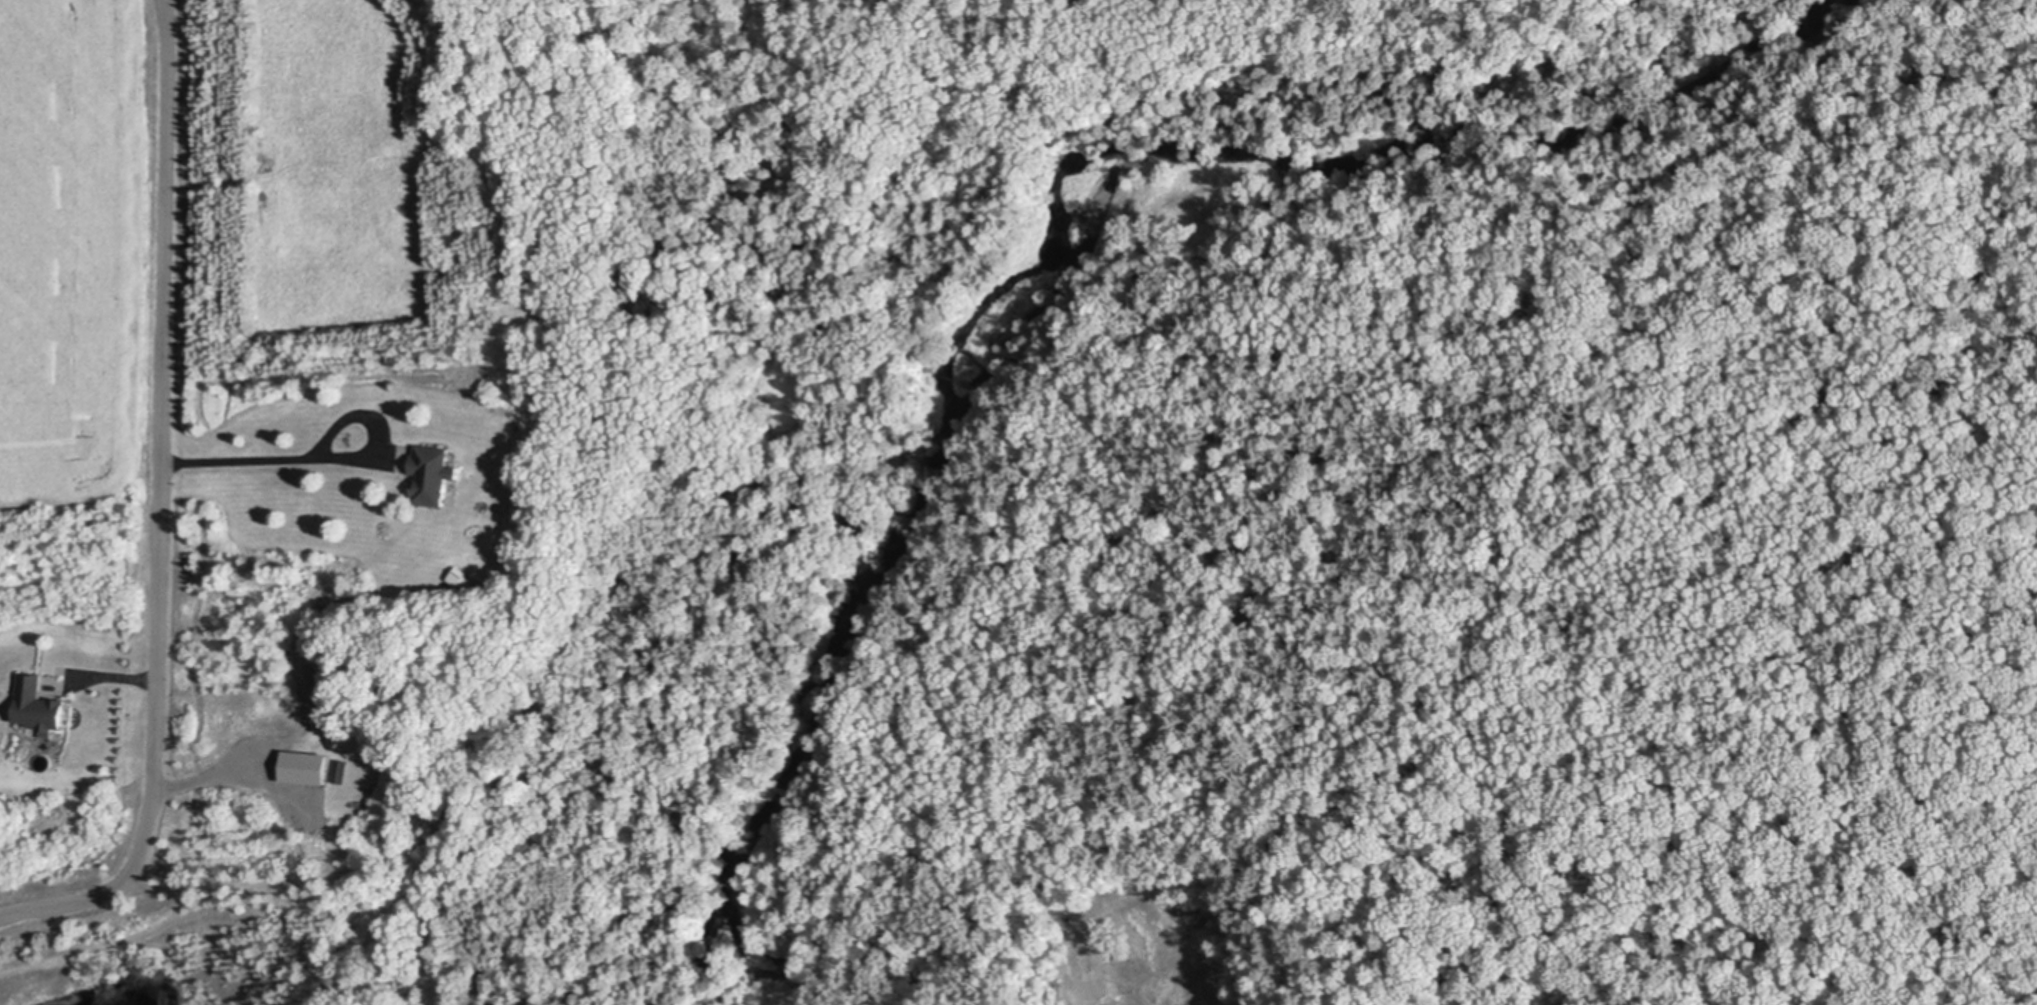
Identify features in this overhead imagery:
river: (1065, 209)
road: (272, 455)
building: (432, 474)
road: (161, 509)
building: (462, 574)
building: (38, 704)
building: (306, 766)
road: (304, 851)

